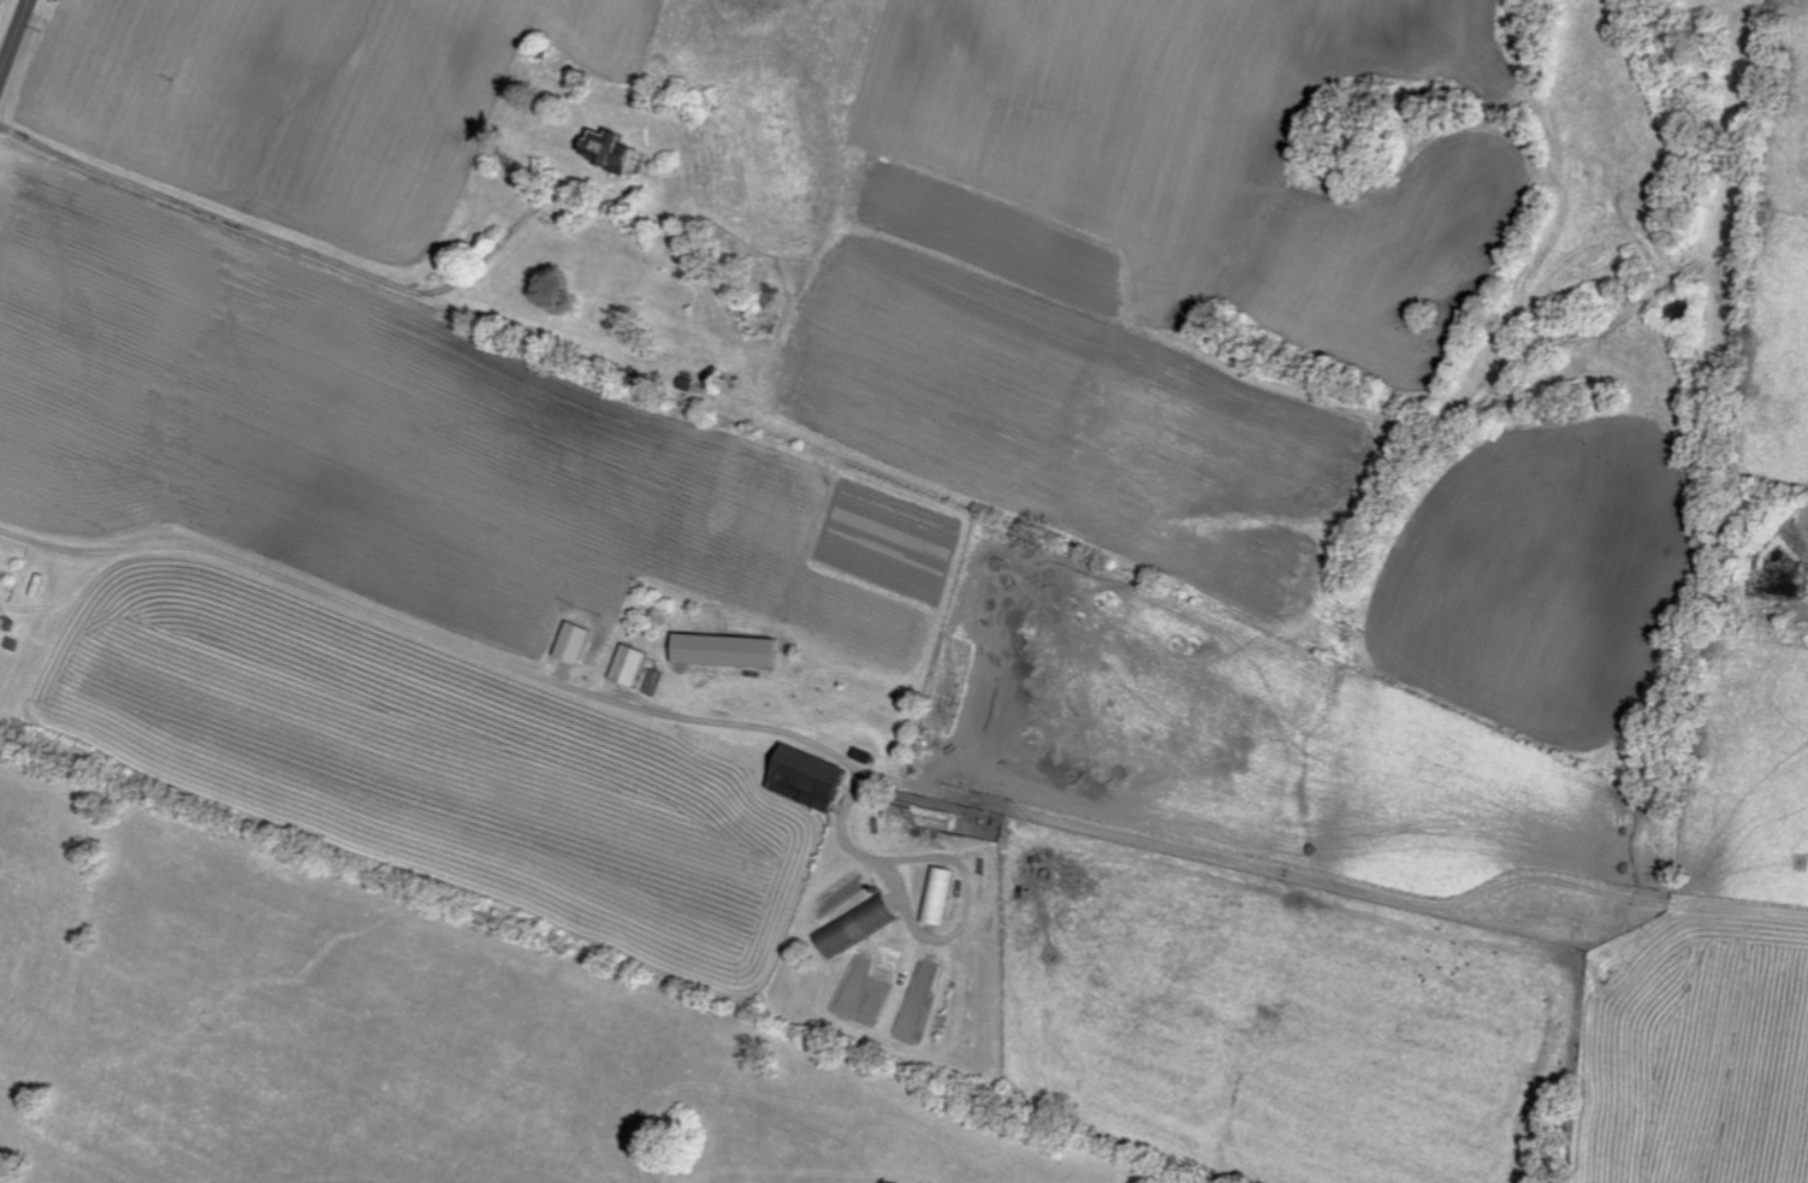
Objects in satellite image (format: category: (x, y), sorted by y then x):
road: (13, 39)
building: (609, 149)
road: (292, 241)
building: (571, 643)
building: (718, 644)
road: (512, 664)
building: (627, 666)
building: (806, 777)
building: (936, 895)
building: (853, 925)

